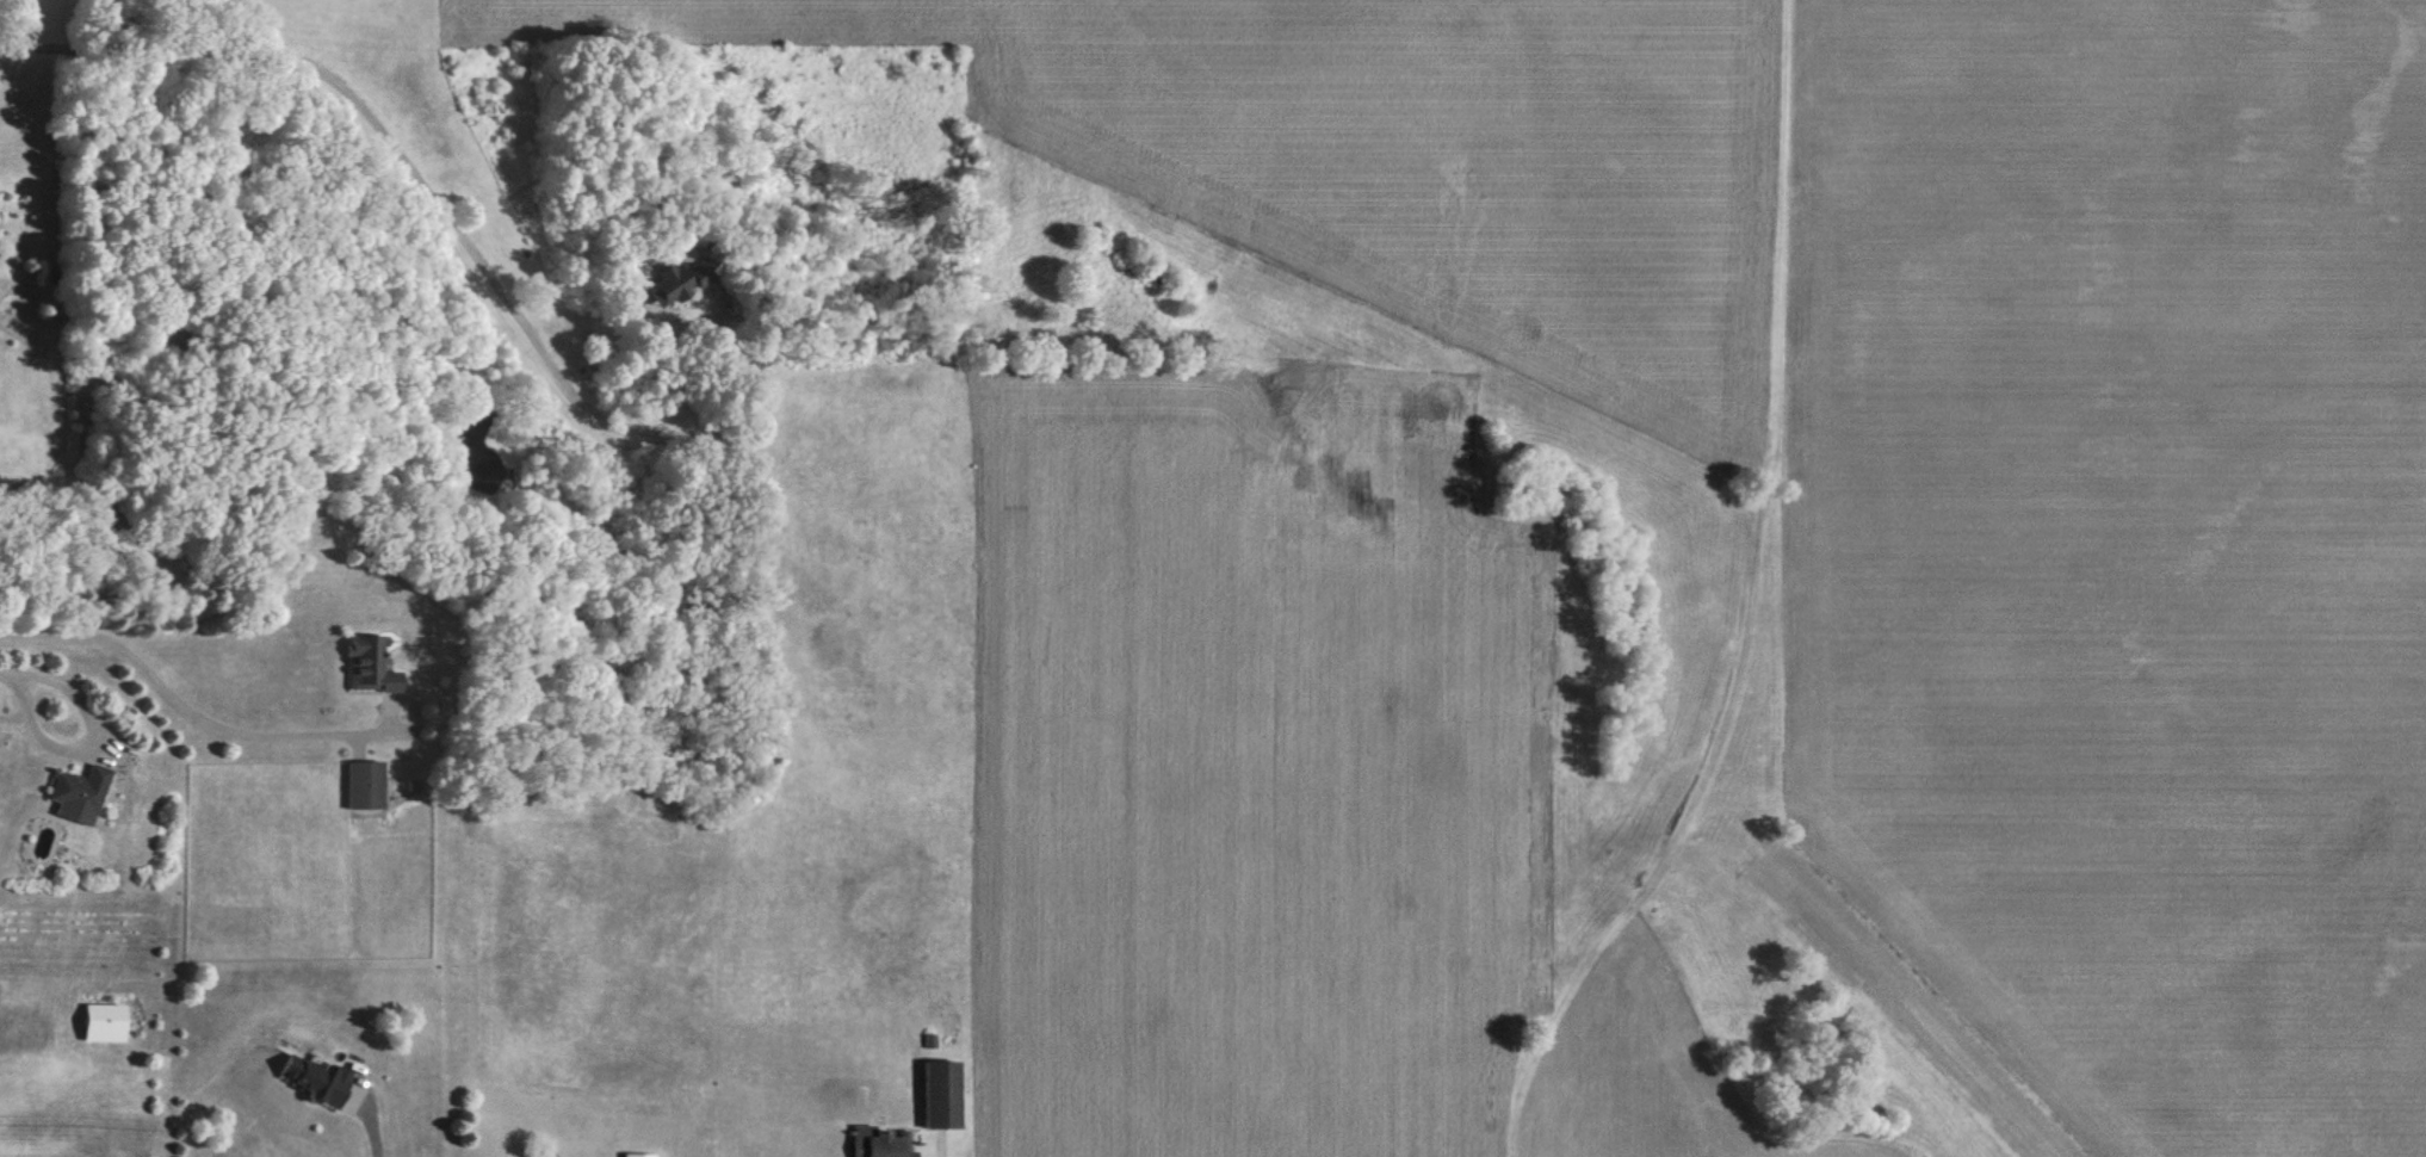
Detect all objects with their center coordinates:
road: (438, 217)
building: (648, 283)
building: (360, 664)
road: (7, 670)
road: (184, 706)
road: (86, 744)
building: (360, 785)
building: (72, 793)
building: (103, 1022)
building: (314, 1079)
building: (939, 1093)
building: (878, 1143)
road: (377, 1144)
building: (636, 1155)

